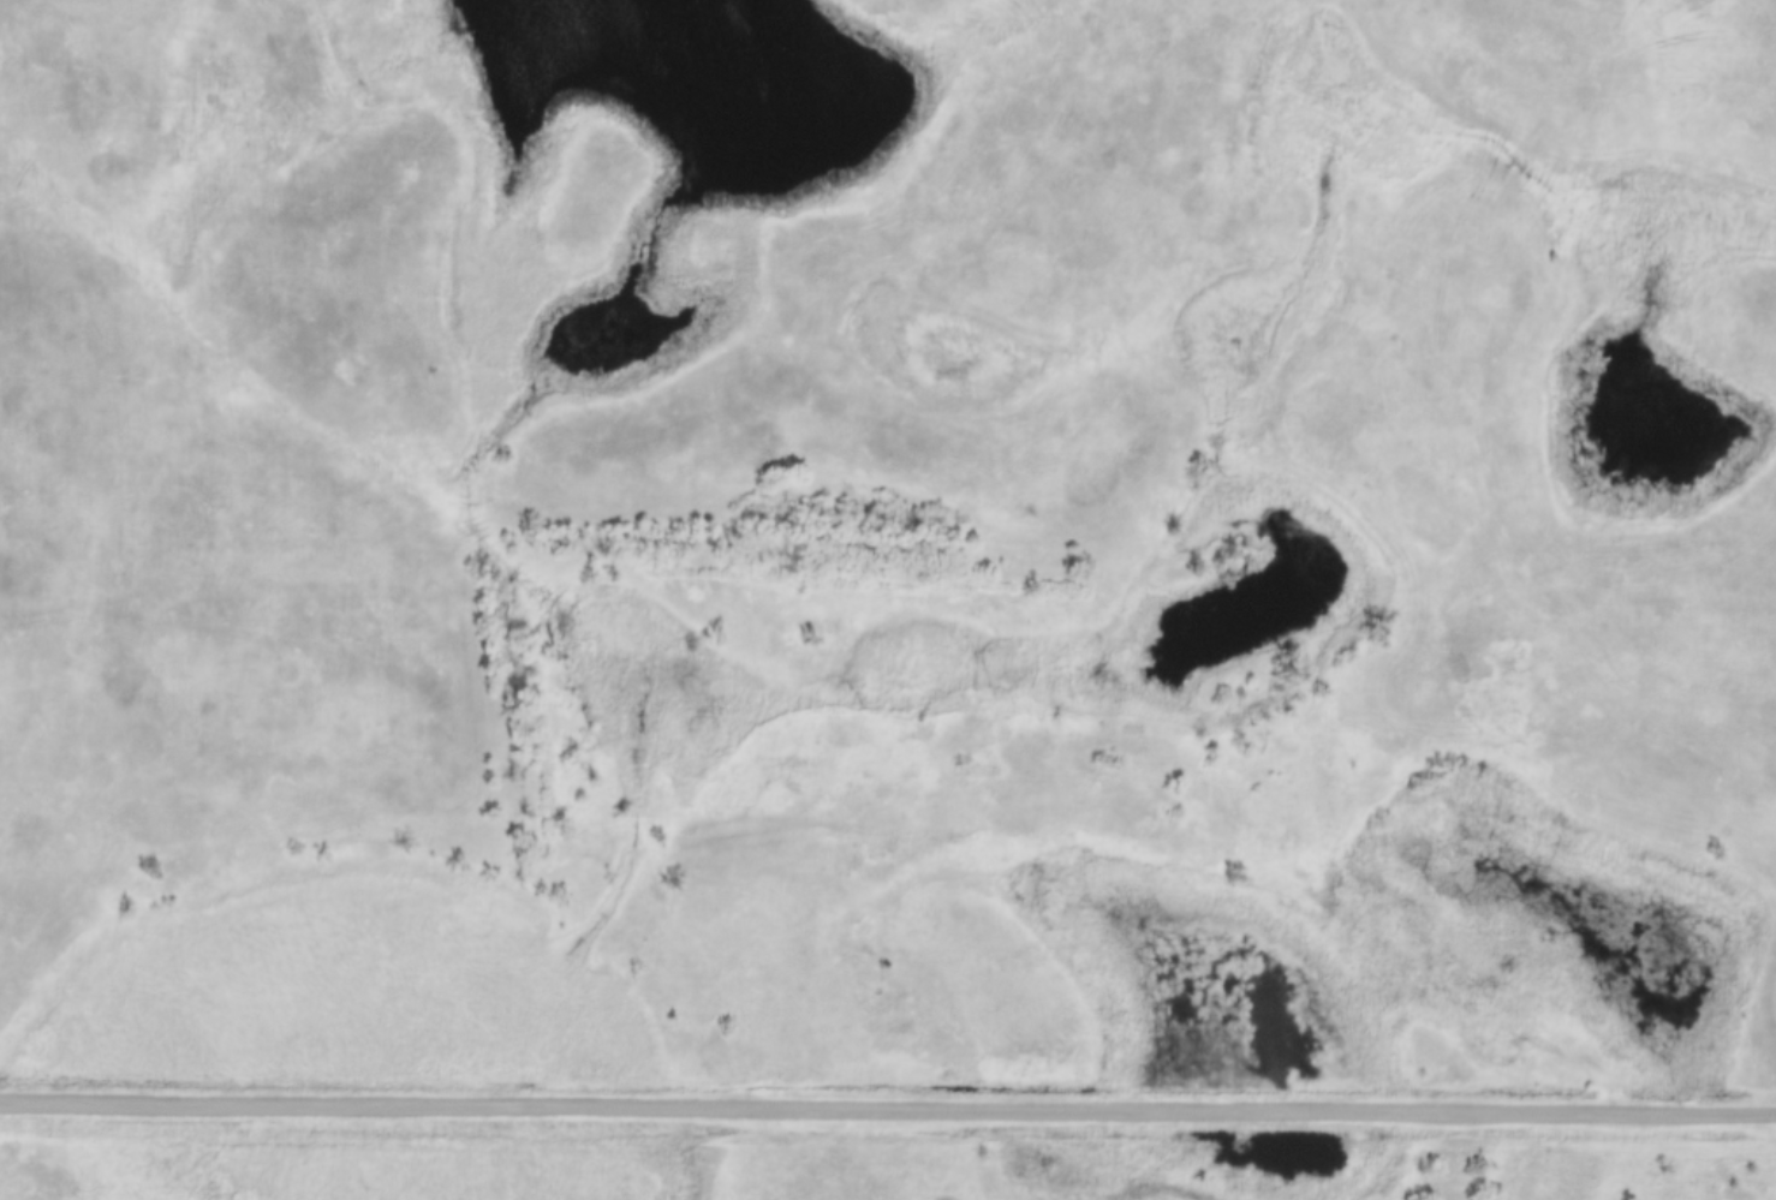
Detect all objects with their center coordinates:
road: (887, 1112)

